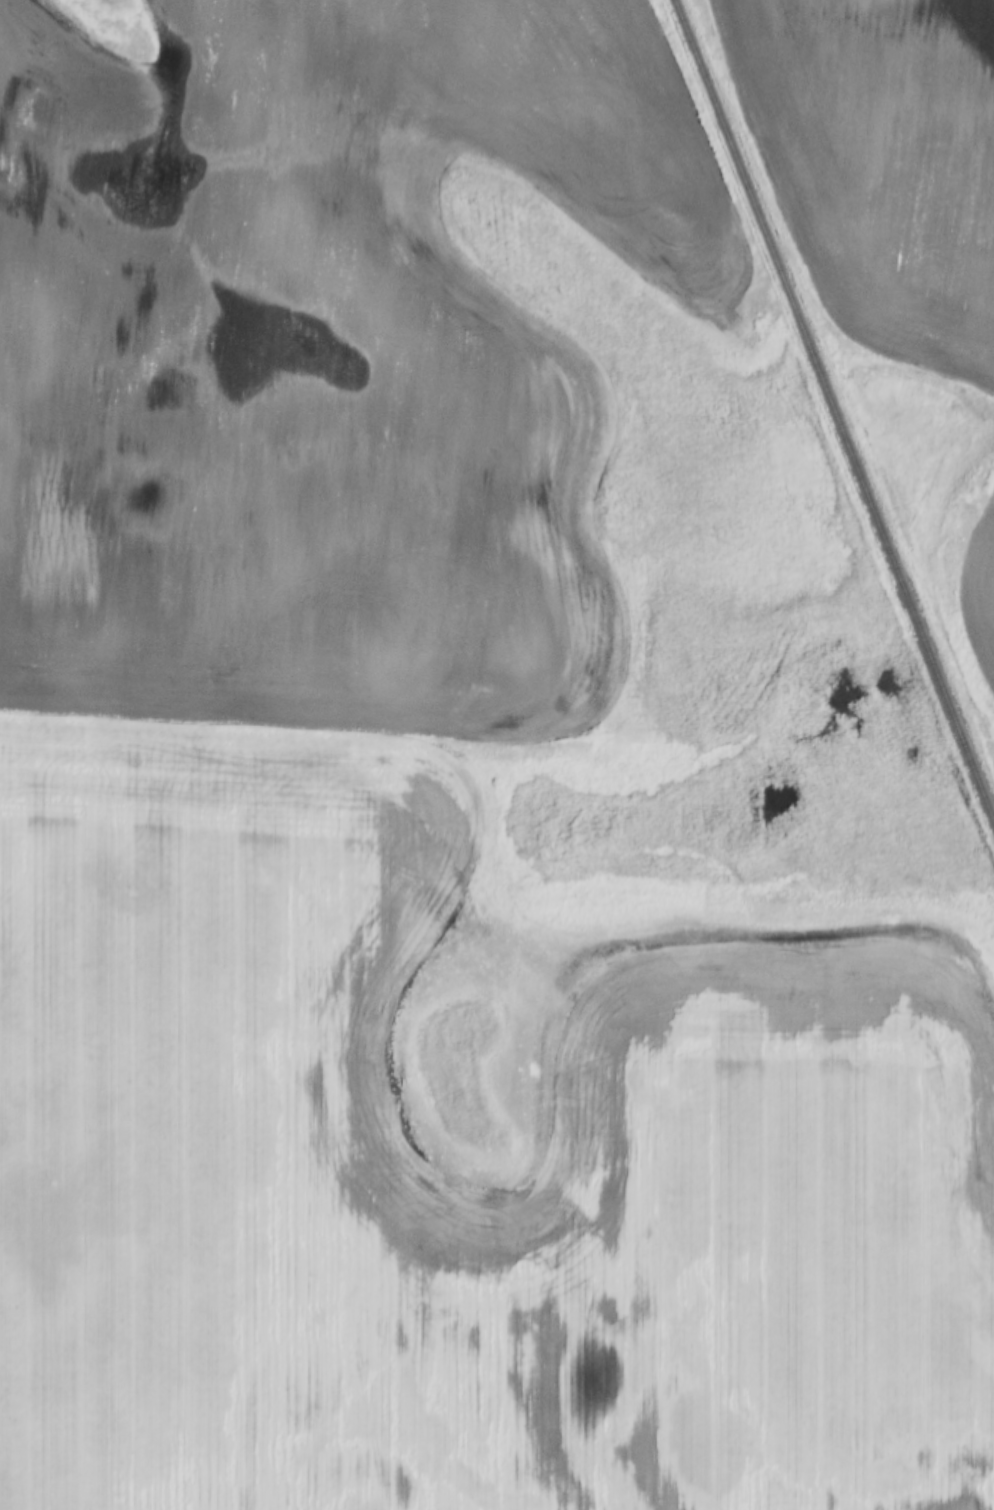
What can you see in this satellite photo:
railway: (833, 411)

